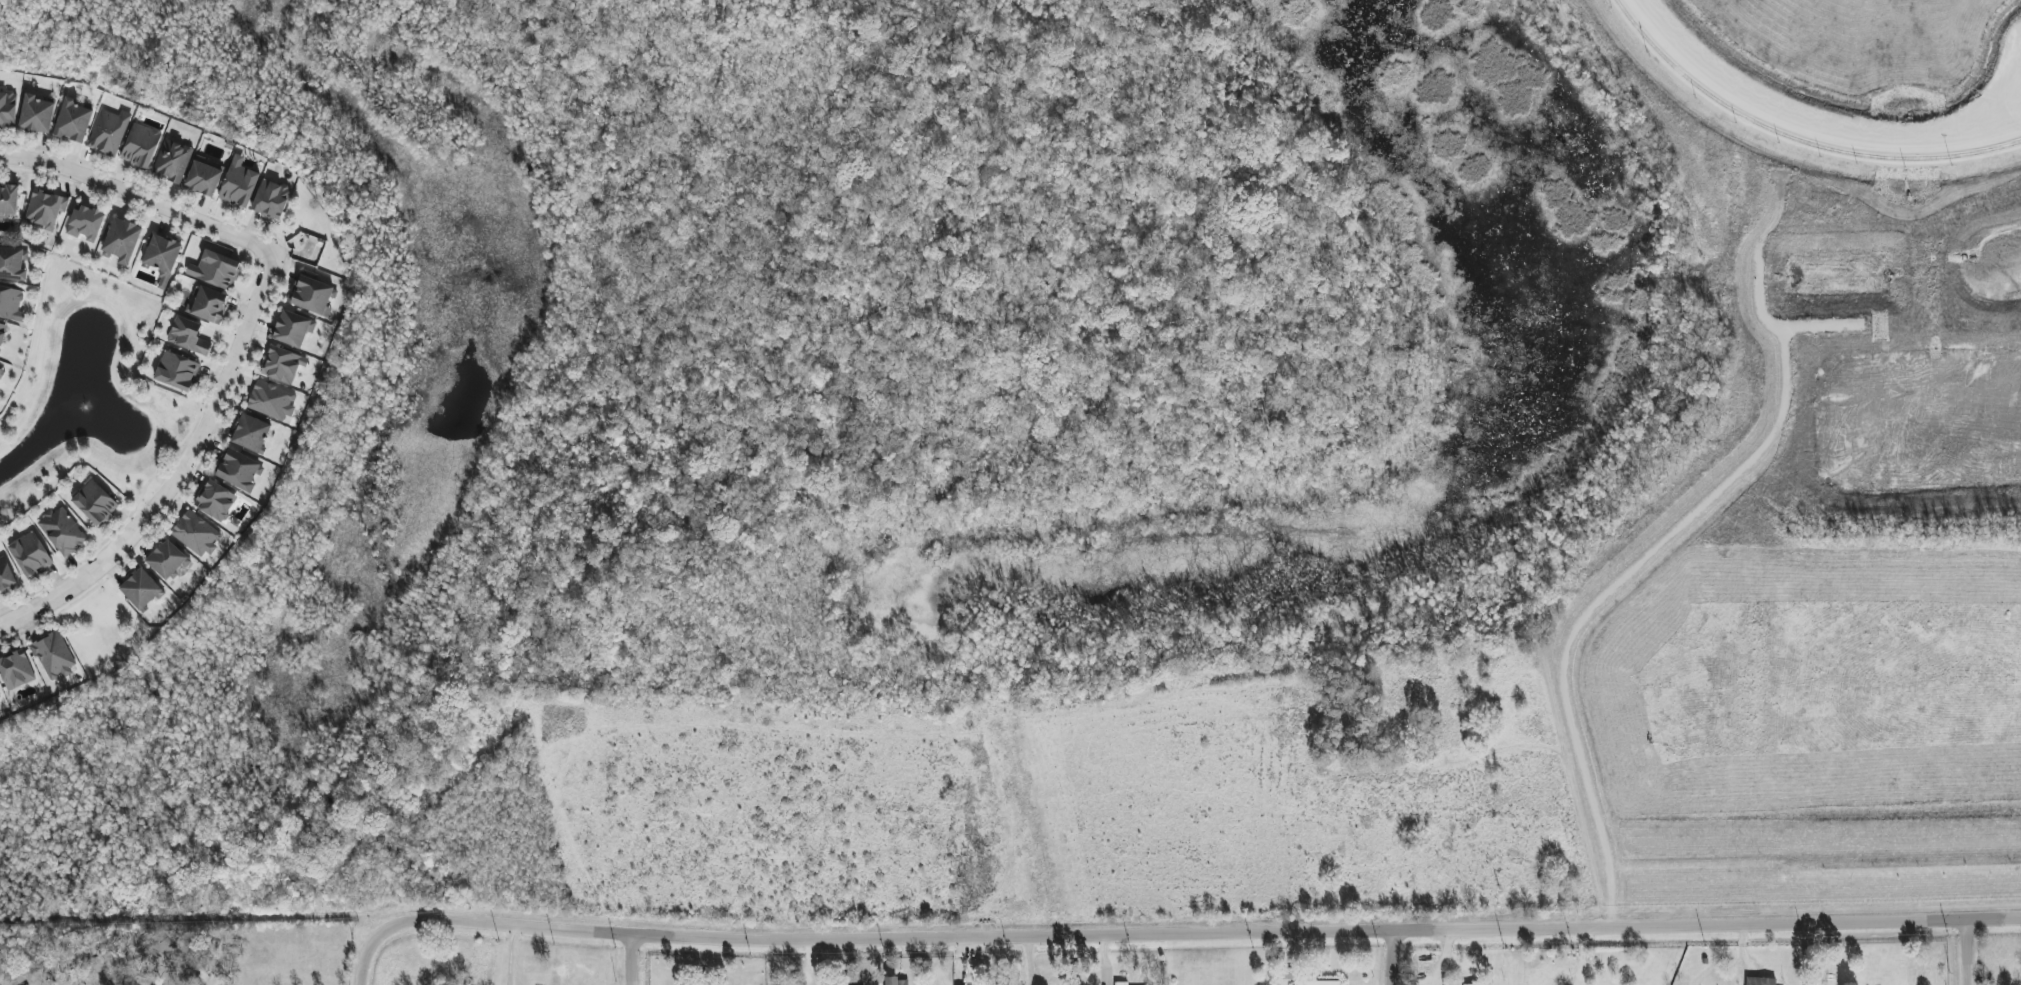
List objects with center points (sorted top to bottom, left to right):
building: (8, 110)
building: (37, 114)
building: (73, 121)
building: (108, 132)
building: (141, 146)
building: (172, 160)
building: (203, 178)
building: (239, 183)
road: (138, 197)
building: (271, 200)
building: (9, 201)
building: (45, 209)
building: (85, 223)
building: (122, 240)
building: (162, 258)
building: (13, 264)
building: (217, 270)
building: (311, 293)
building: (10, 302)
building: (209, 305)
building: (293, 329)
building: (2, 334)
building: (188, 336)
building: (283, 365)
building: (1, 370)
building: (177, 371)
building: (271, 401)
fountain: (87, 404)
building: (251, 433)
building: (240, 471)
road: (177, 475)
building: (215, 501)
building: (95, 503)
building: (62, 531)
building: (195, 534)
building: (30, 555)
building: (167, 560)
building: (5, 576)
building: (141, 589)
building: (53, 656)
building: (16, 670)
road: (1546, 687)
building: (0, 698)
road: (1461, 761)
road: (1593, 839)
road: (474, 919)
road: (1325, 930)
road: (1973, 951)
road: (509, 953)
road: (1398, 957)
road: (629, 959)
building: (897, 981)
building: (1312, 981)
building: (1760, 981)
building: (1121, 983)
building: (1469, 984)

